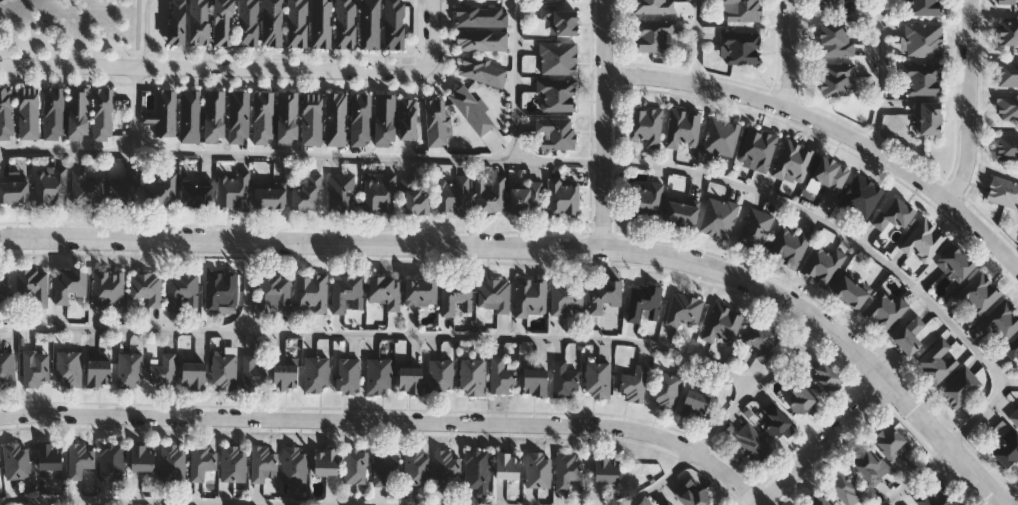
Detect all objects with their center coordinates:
building: (1008, 2)
building: (837, 5)
building: (653, 6)
building: (923, 7)
building: (741, 10)
building: (482, 17)
building: (560, 19)
building: (177, 22)
building: (199, 22)
building: (224, 22)
building: (248, 23)
building: (273, 23)
building: (297, 23)
building: (322, 23)
building: (346, 24)
building: (370, 24)
building: (395, 24)
building: (1008, 31)
road: (144, 33)
building: (652, 34)
road: (435, 35)
building: (834, 39)
building: (923, 39)
building: (481, 40)
road: (695, 41)
building: (739, 47)
road: (787, 53)
building: (557, 58)
road: (212, 68)
building: (483, 71)
road: (878, 72)
building: (1006, 73)
building: (836, 77)
building: (921, 78)
building: (556, 95)
road: (968, 101)
building: (1007, 107)
building: (472, 109)
road: (135, 110)
building: (165, 112)
building: (6, 113)
building: (29, 113)
building: (54, 113)
building: (78, 113)
building: (103, 114)
building: (214, 115)
building: (190, 116)
building: (239, 116)
building: (263, 117)
building: (287, 117)
building: (928, 117)
building: (312, 118)
building: (336, 118)
building: (360, 119)
building: (385, 119)
building: (408, 119)
building: (436, 122)
road: (600, 122)
road: (831, 122)
building: (645, 125)
building: (682, 129)
building: (554, 133)
building: (720, 136)
building: (1006, 146)
building: (757, 148)
road: (257, 155)
building: (792, 162)
building: (828, 177)
building: (50, 186)
building: (13, 188)
building: (86, 189)
building: (124, 189)
building: (160, 191)
building: (233, 191)
building: (1003, 191)
road: (752, 192)
building: (341, 193)
building: (378, 193)
building: (196, 194)
building: (306, 194)
building: (269, 195)
building: (452, 195)
building: (489, 195)
building: (861, 196)
building: (562, 197)
building: (525, 198)
building: (414, 199)
building: (643, 200)
building: (680, 213)
building: (893, 214)
building: (718, 218)
building: (755, 228)
building: (922, 242)
road: (548, 243)
building: (789, 246)
building: (954, 263)
building: (822, 264)
building: (69, 285)
road: (249, 285)
building: (3, 286)
building: (32, 286)
building: (146, 287)
building: (107, 290)
building: (182, 291)
building: (221, 291)
building: (419, 291)
building: (849, 291)
building: (384, 292)
building: (274, 293)
building: (311, 293)
building: (978, 293)
building: (347, 294)
building: (603, 294)
building: (493, 295)
building: (456, 296)
building: (529, 297)
building: (566, 297)
building: (643, 302)
building: (683, 310)
building: (883, 310)
building: (1001, 321)
building: (722, 325)
road: (380, 335)
building: (909, 335)
building: (761, 341)
building: (1012, 348)
building: (936, 362)
building: (68, 369)
building: (223, 369)
building: (7, 370)
building: (34, 370)
building: (130, 370)
building: (162, 372)
building: (97, 373)
building: (254, 374)
building: (316, 374)
building: (284, 375)
building: (502, 375)
building: (192, 376)
building: (348, 376)
building: (378, 376)
building: (441, 376)
building: (822, 376)
building: (472, 377)
building: (564, 379)
building: (597, 379)
building: (409, 381)
building: (534, 382)
building: (634, 384)
building: (959, 387)
building: (666, 390)
building: (799, 400)
building: (694, 404)
road: (390, 417)
building: (1014, 418)
road: (722, 419)
building: (753, 442)
road: (820, 443)
building: (890, 443)
building: (1005, 448)
building: (49, 456)
building: (141, 457)
building: (79, 459)
building: (201, 460)
building: (16, 461)
building: (111, 461)
building: (325, 461)
building: (262, 462)
building: (232, 463)
building: (293, 463)
building: (172, 464)
building: (385, 465)
building: (506, 465)
building: (355, 466)
building: (869, 466)
building: (416, 467)
building: (446, 468)
building: (605, 468)
building: (538, 469)
building: (567, 469)
building: (477, 470)
road: (915, 475)
building: (843, 488)
road: (1012, 491)
building: (693, 495)
building: (936, 496)
road: (1012, 500)
road: (182, 501)
building: (820, 501)

